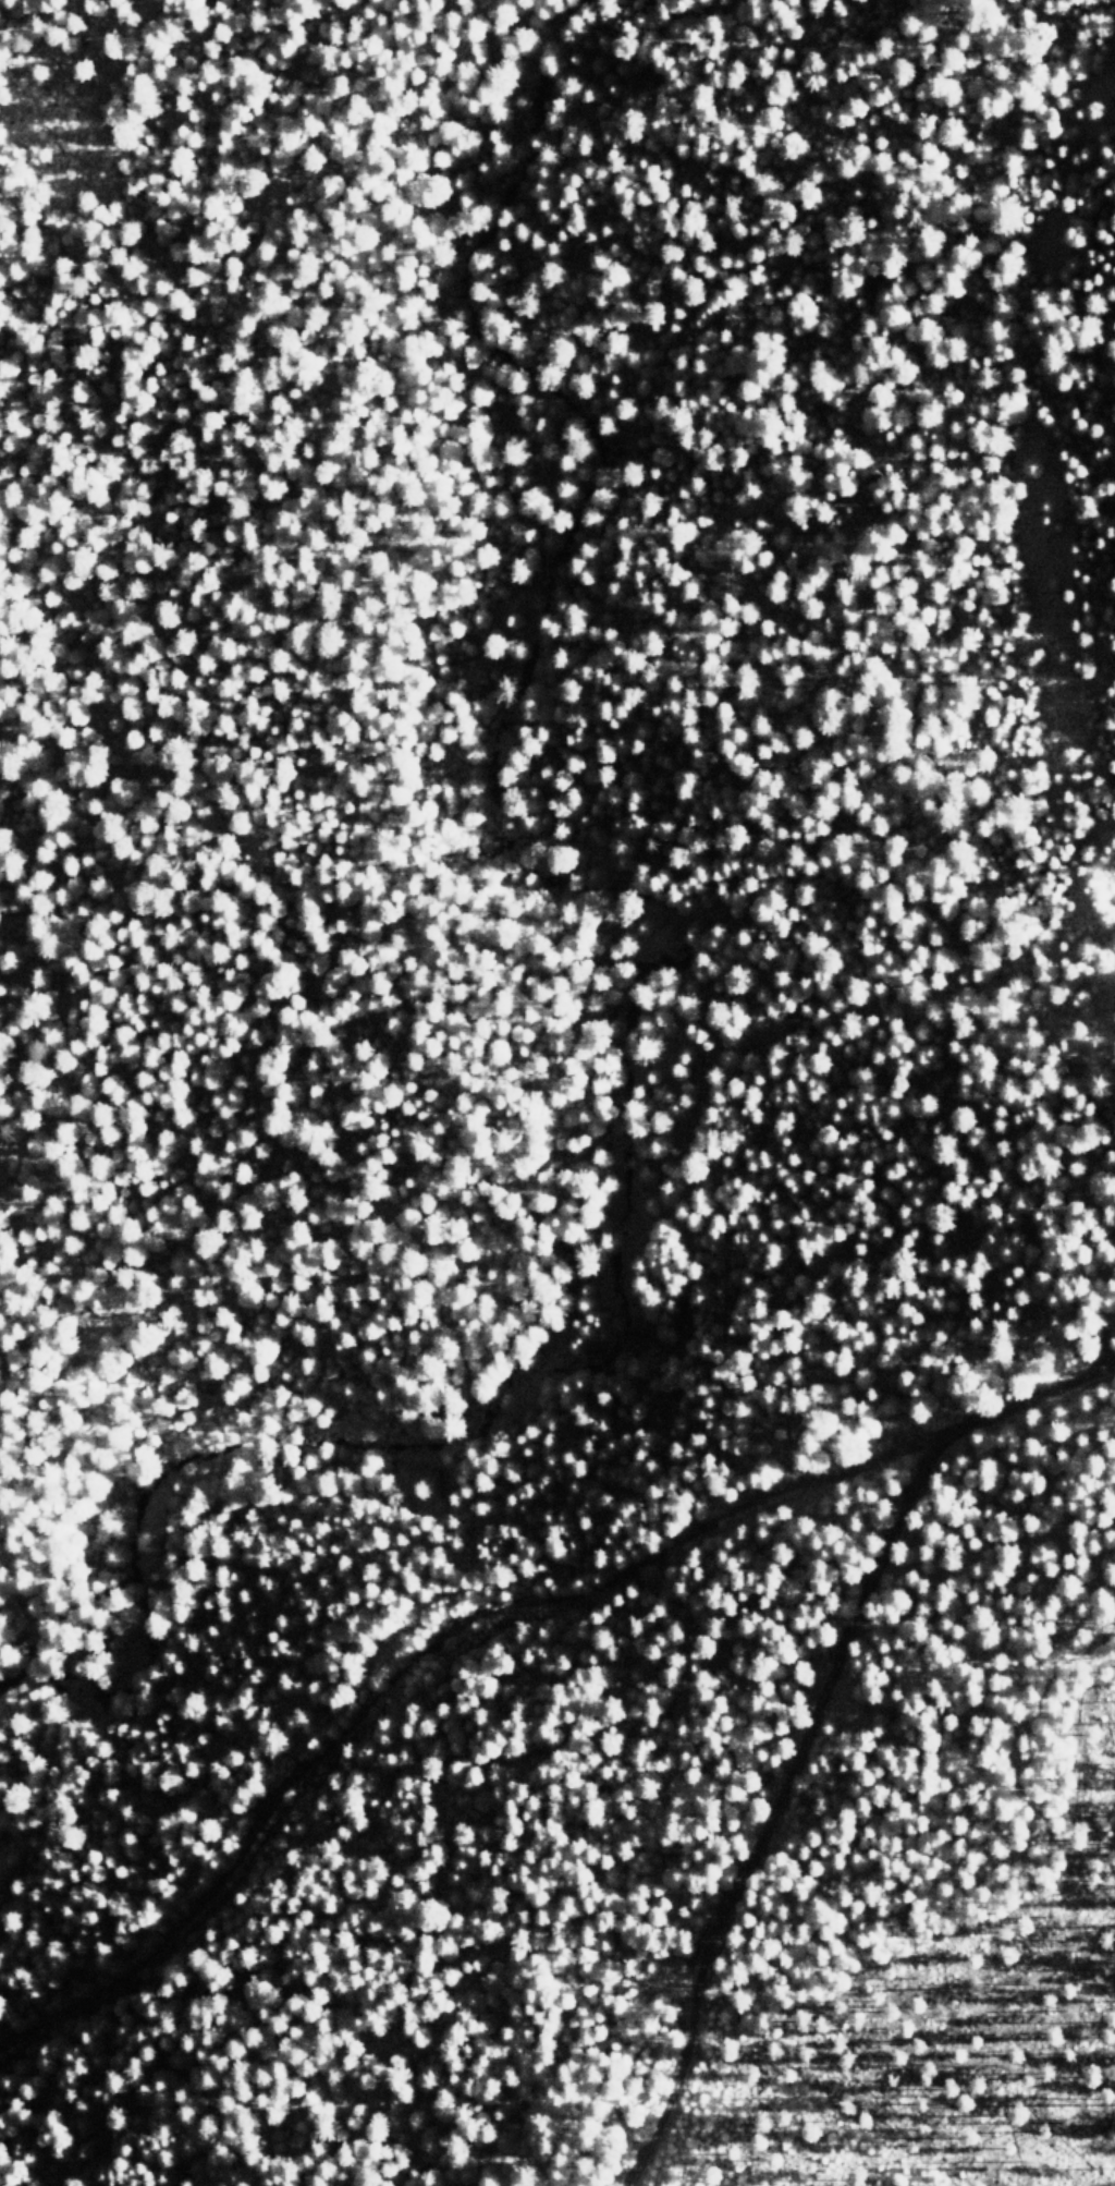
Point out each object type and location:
road: (483, 1624)

